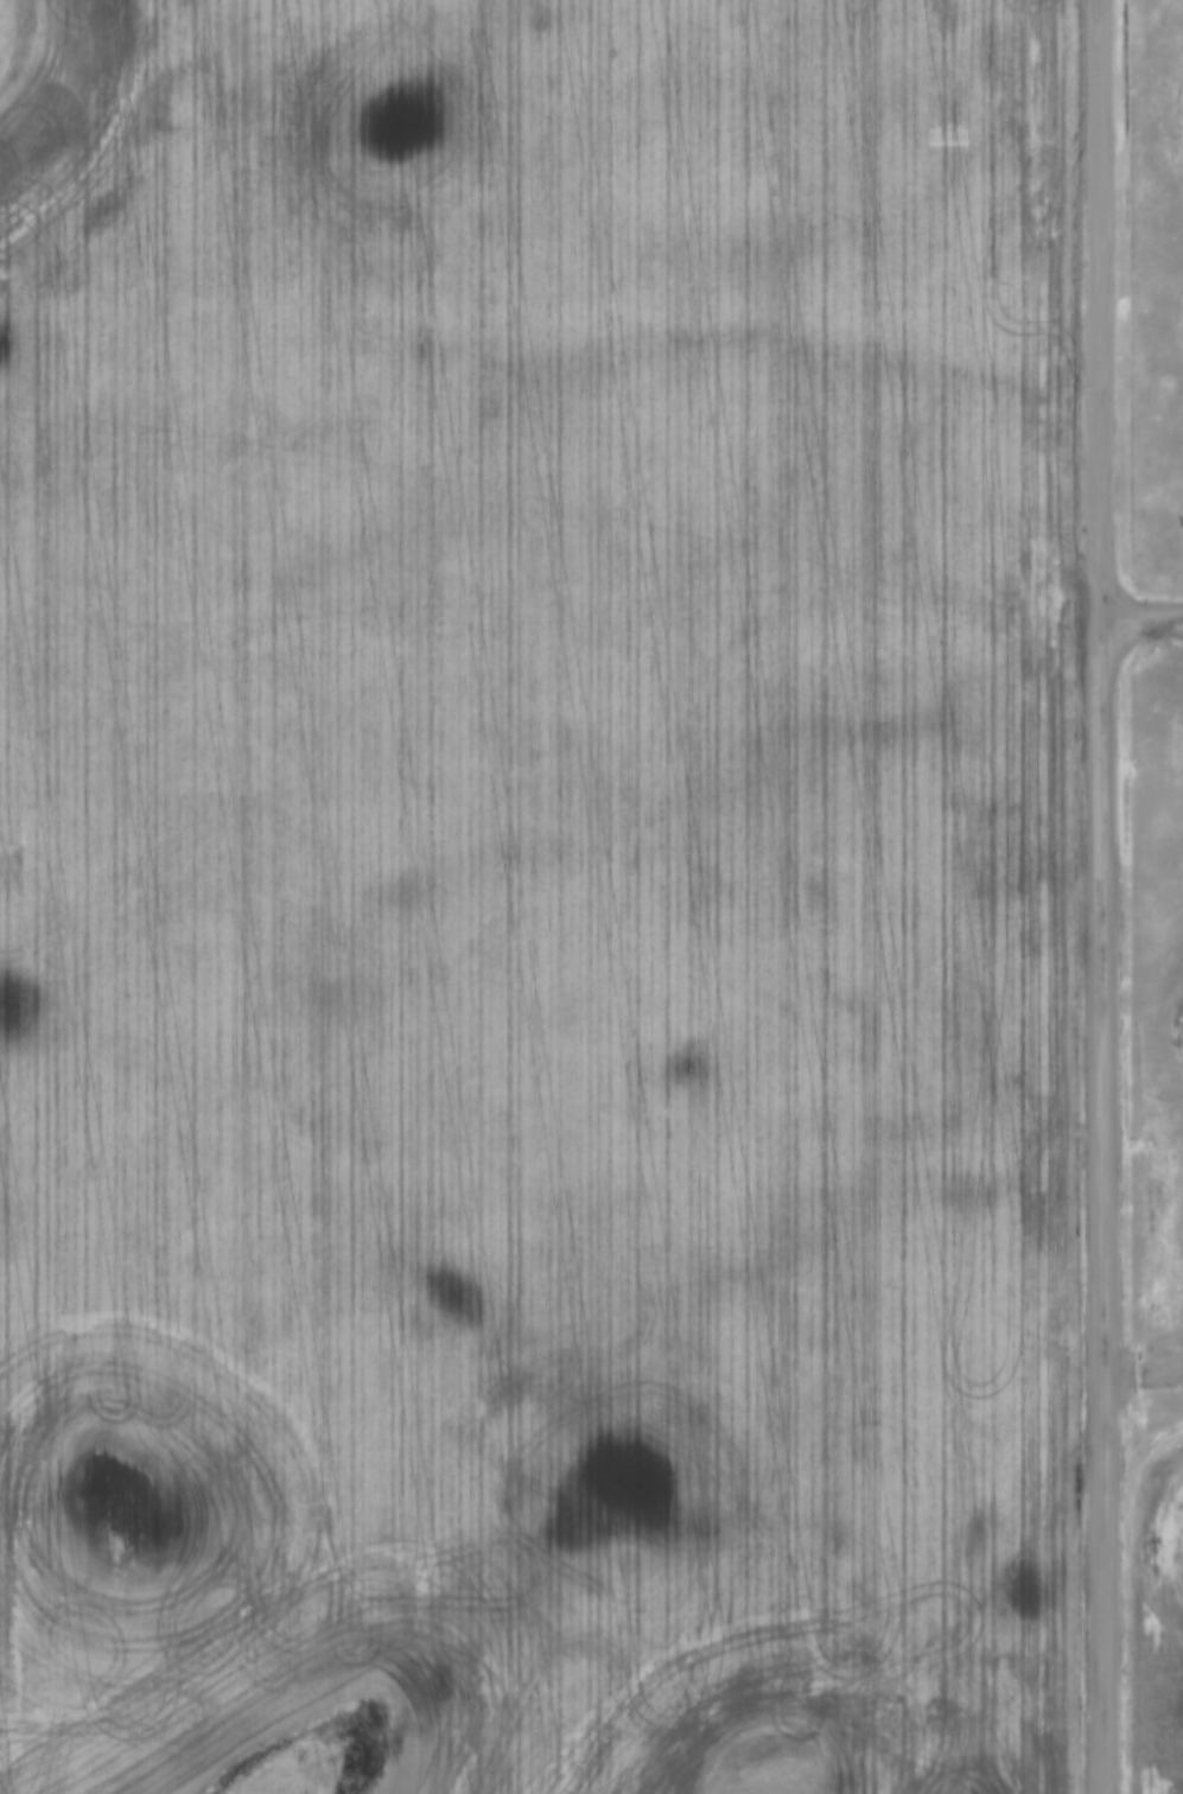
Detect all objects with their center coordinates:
road: (1100, 896)

